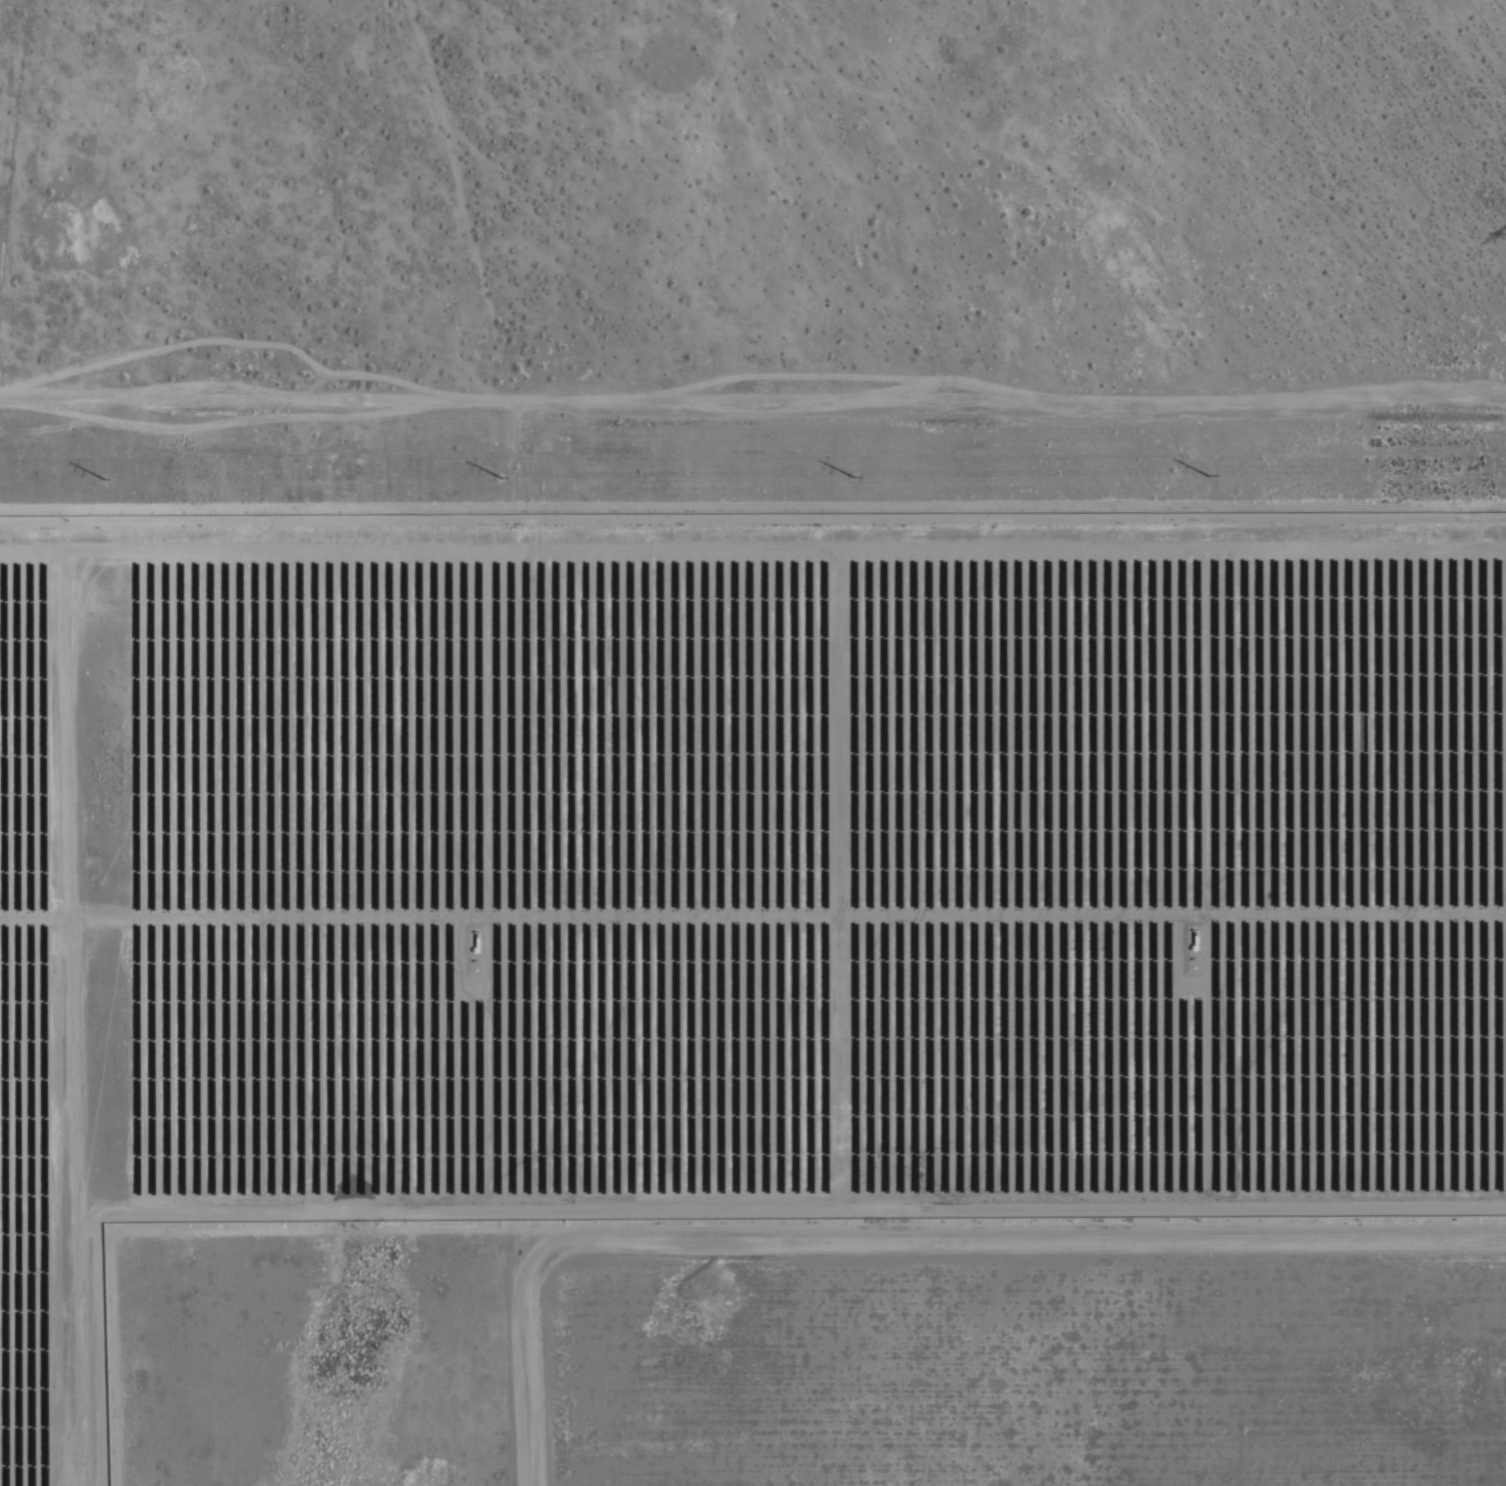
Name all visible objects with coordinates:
road: (752, 435)
solar farm: (733, 881)

